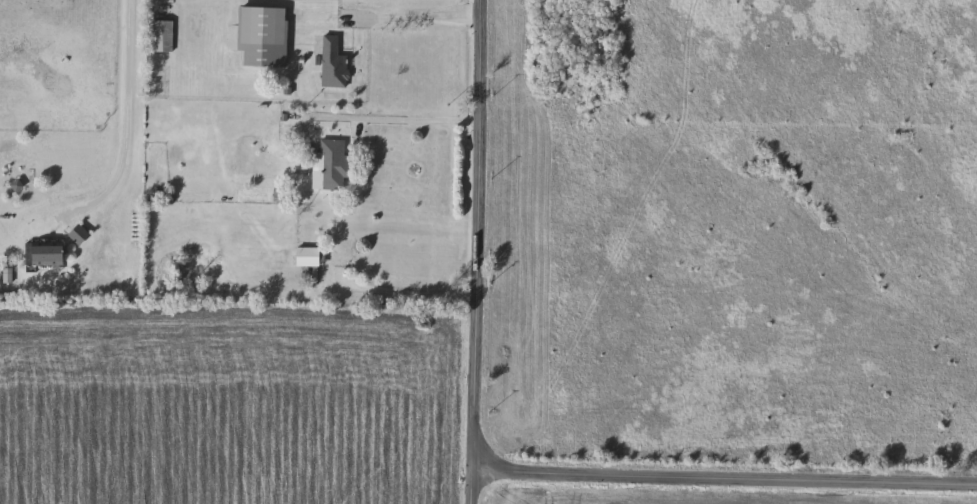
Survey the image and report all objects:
road: (416, 18)
building: (263, 27)
building: (161, 38)
building: (333, 65)
road: (386, 121)
road: (124, 128)
building: (330, 167)
building: (17, 187)
road: (477, 251)
building: (49, 255)
building: (306, 257)
road: (398, 296)
crop: (227, 410)
road: (727, 481)

